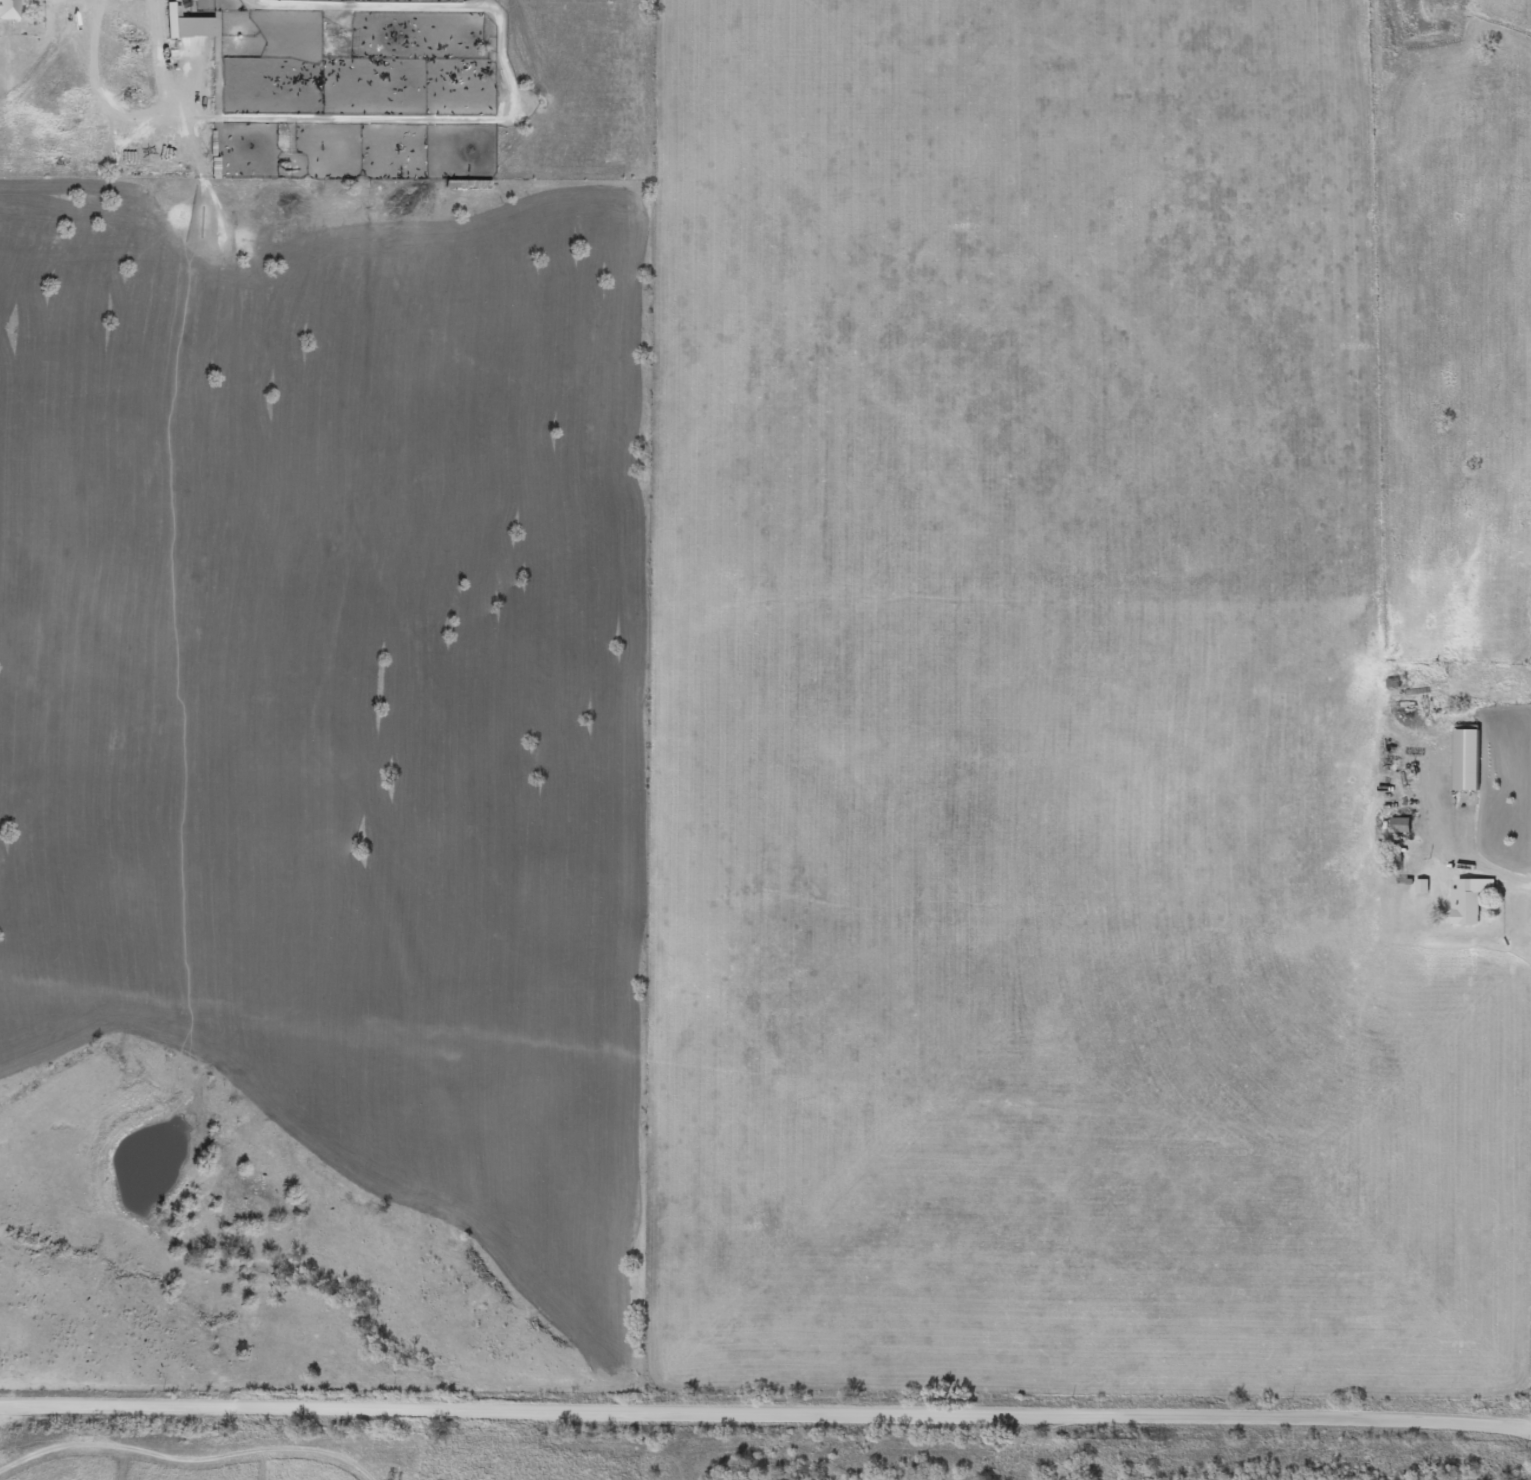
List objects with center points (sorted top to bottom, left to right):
building: (1468, 760)
building: (1399, 825)
building: (1420, 887)
building: (1468, 900)
road: (765, 1419)

